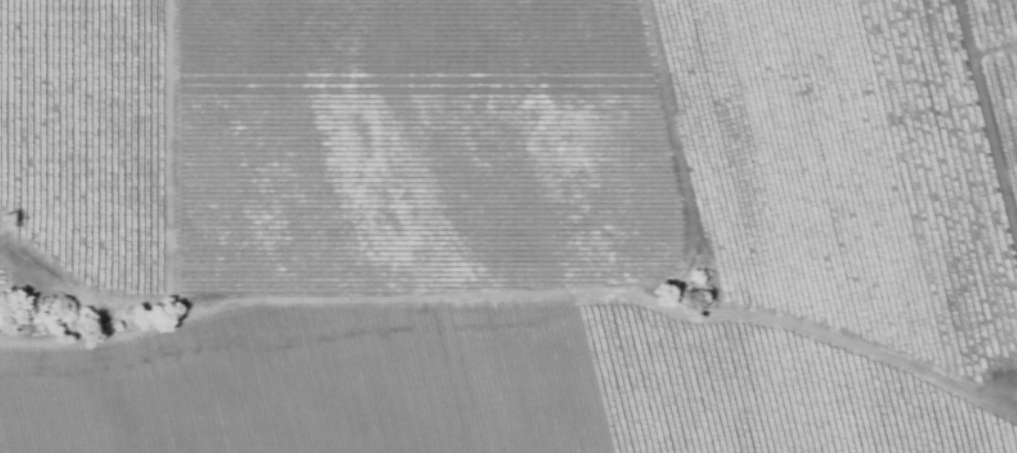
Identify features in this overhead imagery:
road: (988, 48)
road: (981, 150)

